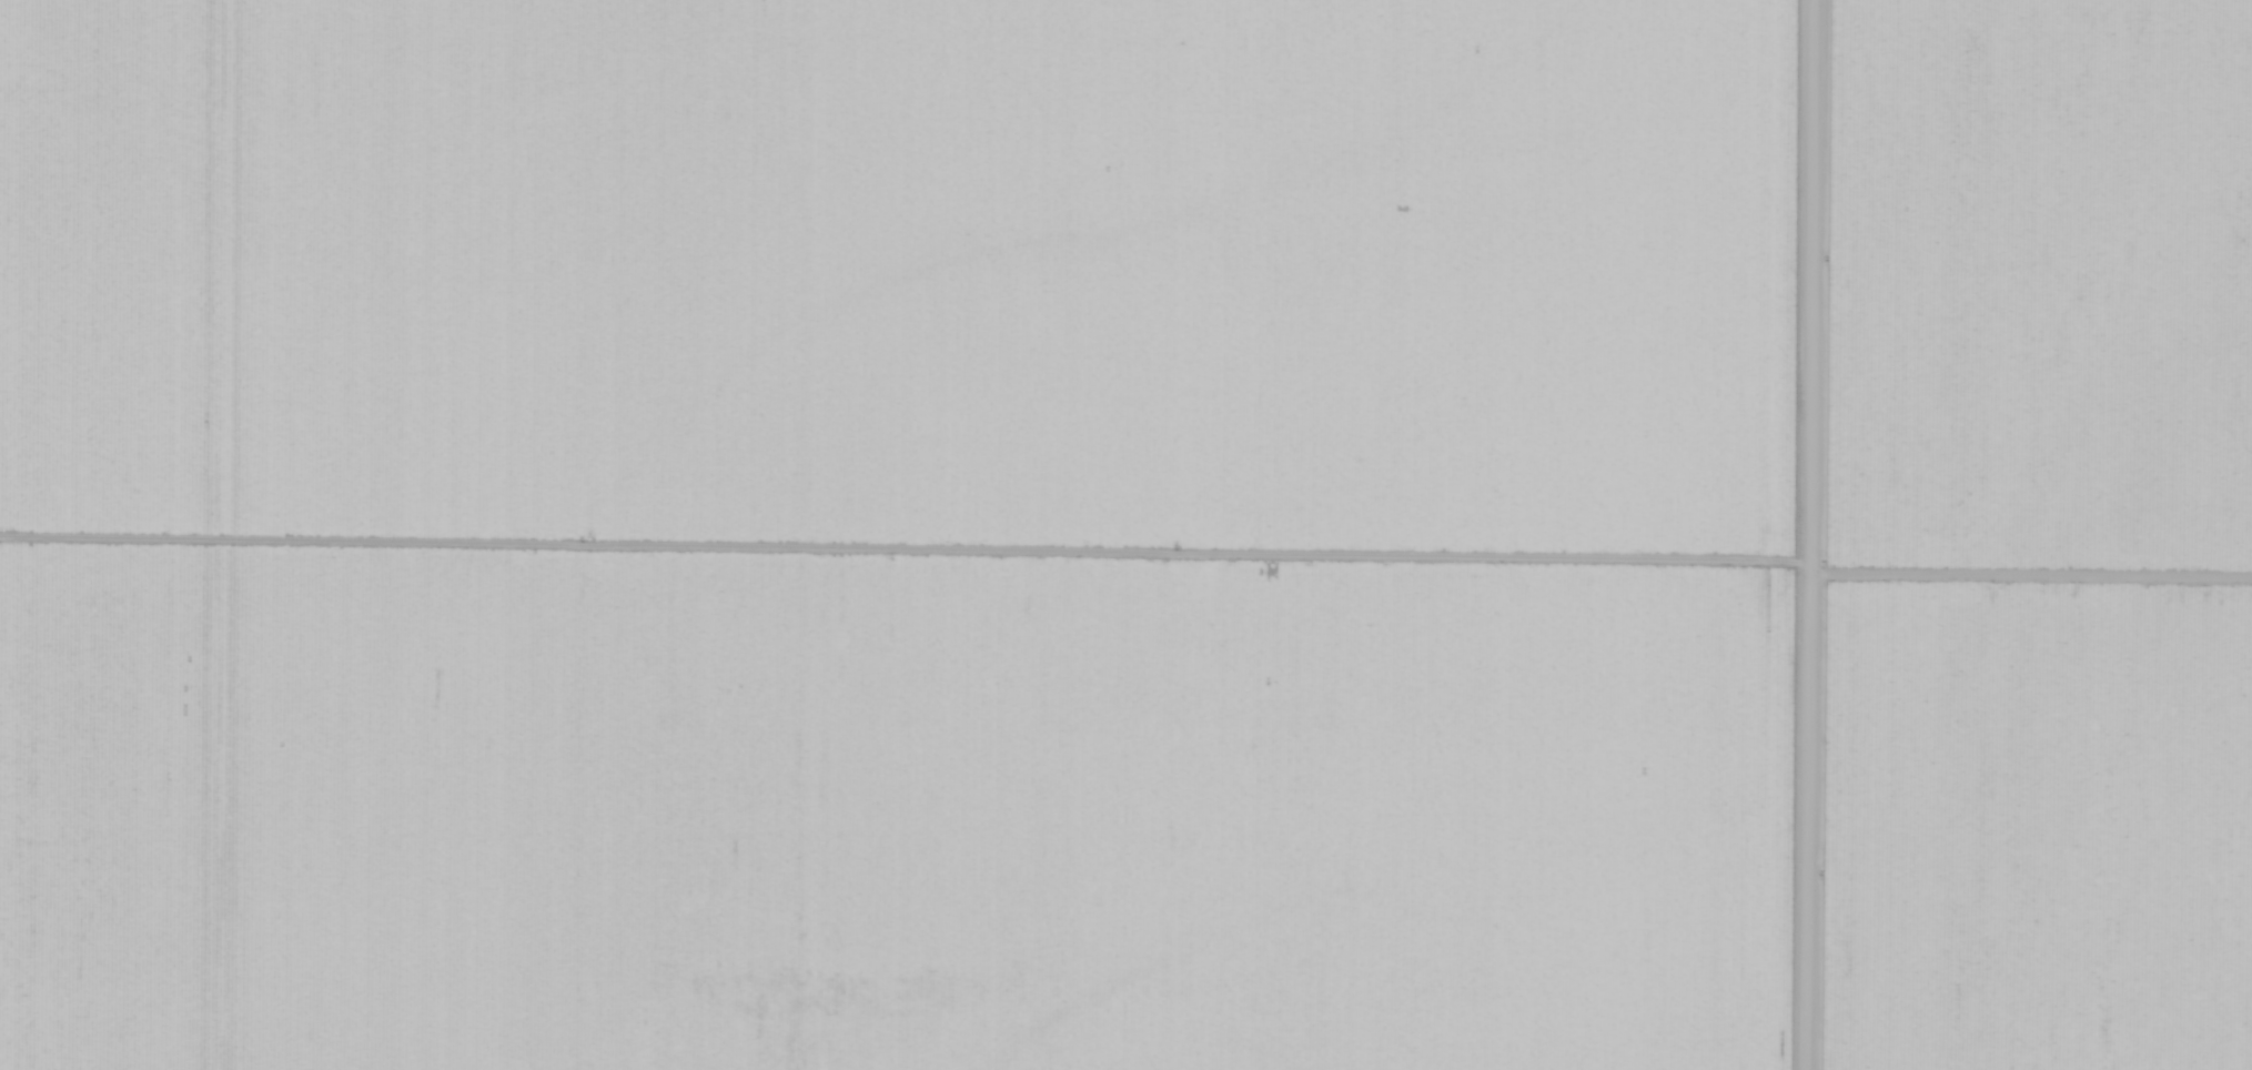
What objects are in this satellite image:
crop: (901, 534)
crop: (2028, 537)

